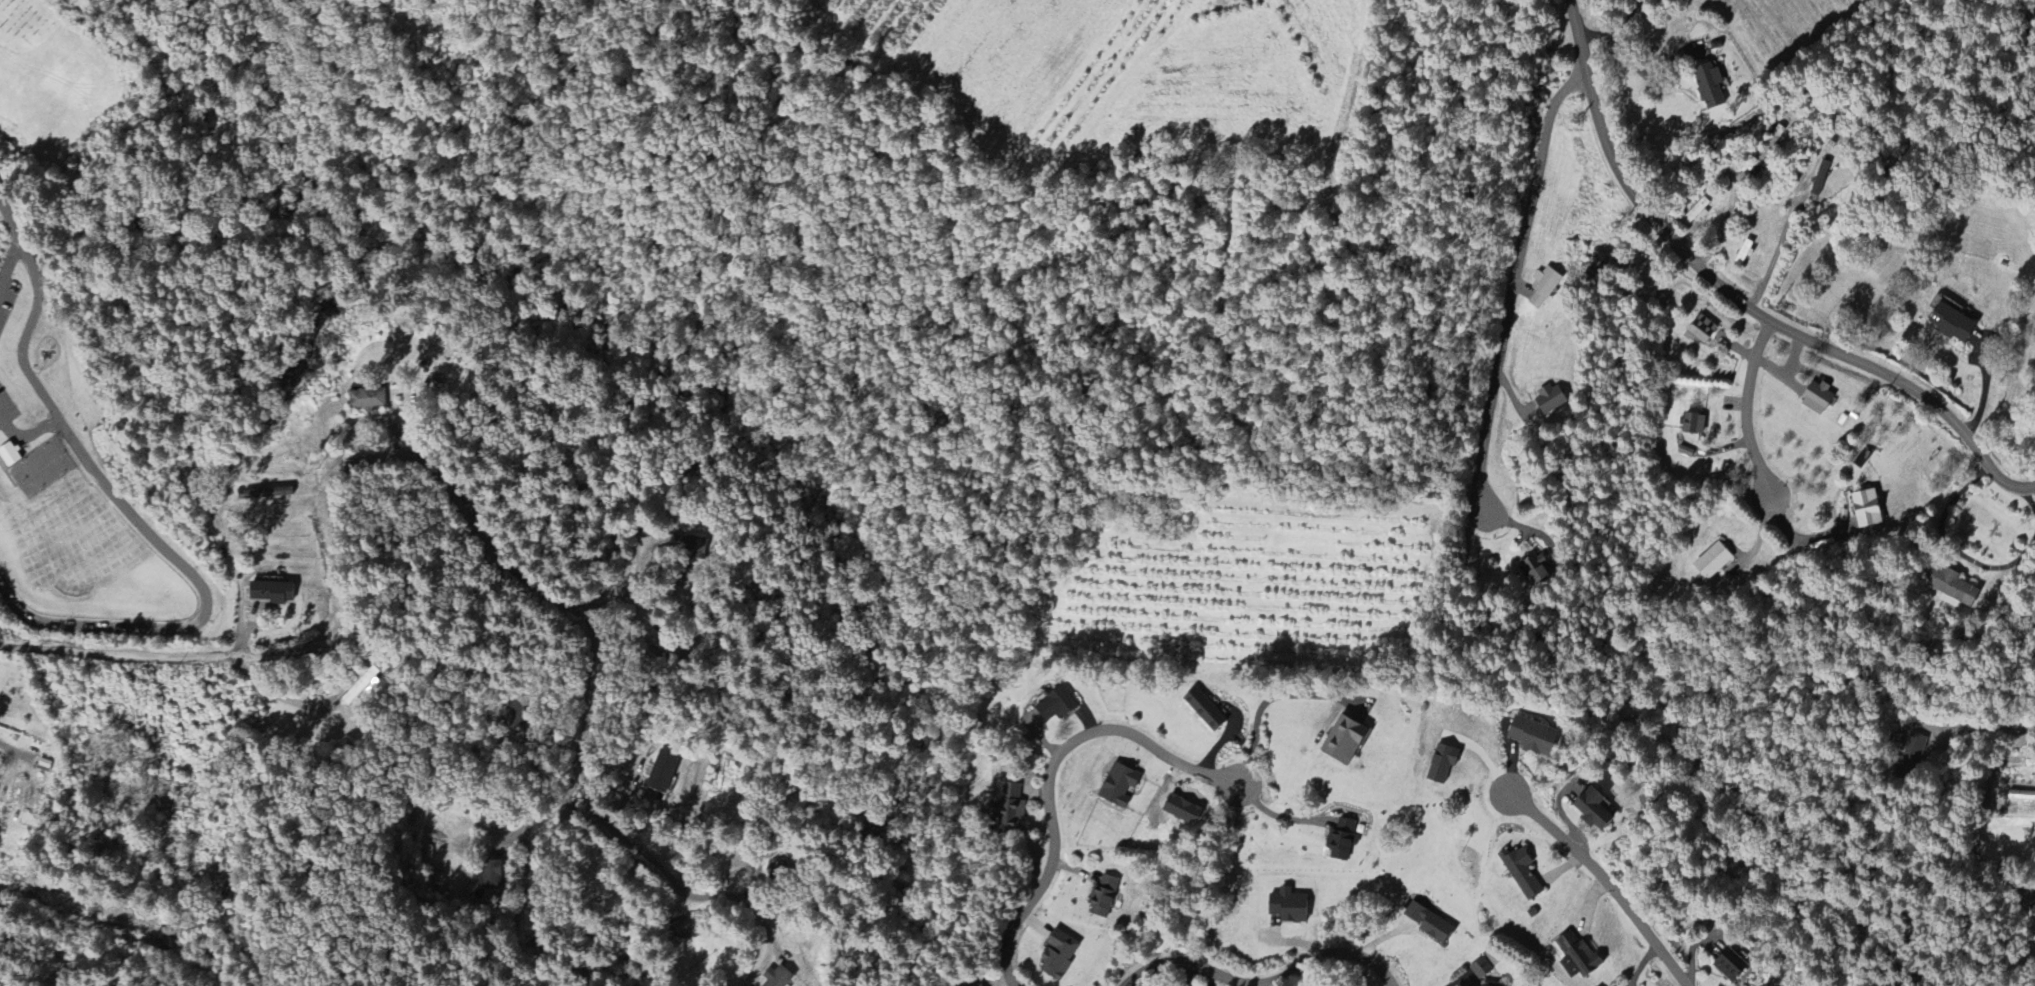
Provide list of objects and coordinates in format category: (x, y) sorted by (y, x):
road: (1614, 26)
road: (1657, 85)
building: (1709, 86)
building: (1820, 178)
building: (1695, 213)
road: (1724, 219)
road: (11, 256)
road: (1, 278)
road: (1512, 284)
building: (1544, 288)
parking lot: (6, 296)
road: (1739, 303)
building: (1952, 324)
building: (1702, 330)
building: (1817, 398)
building: (366, 399)
building: (1551, 399)
parking lot: (6, 407)
road: (1745, 407)
building: (1694, 425)
road: (27, 433)
building: (9, 455)
road: (434, 475)
building: (266, 494)
road: (2031, 499)
building: (1867, 510)
road: (128, 513)
road: (1951, 545)
building: (689, 546)
building: (1713, 562)
building: (1534, 569)
building: (1951, 588)
building: (271, 593)
building: (362, 689)
road: (1265, 698)
building: (1056, 704)
building: (1204, 709)
building: (516, 717)
building: (1532, 736)
building: (1344, 739)
building: (1913, 752)
building: (1442, 763)
building: (44, 766)
road: (1993, 766)
building: (662, 772)
road: (1048, 777)
building: (1119, 786)
building: (2021, 796)
building: (1011, 808)
building: (1593, 809)
road: (1280, 817)
building: (1343, 839)
building: (1521, 872)
road: (683, 874)
building: (491, 876)
road: (1606, 883)
building: (1103, 896)
building: (1288, 906)
building: (1429, 923)
road: (113, 935)
building: (1057, 955)
building: (1577, 957)
building: (1730, 966)
building: (1480, 969)
building: (777, 977)
road: (1261, 983)
building: (980, 985)

